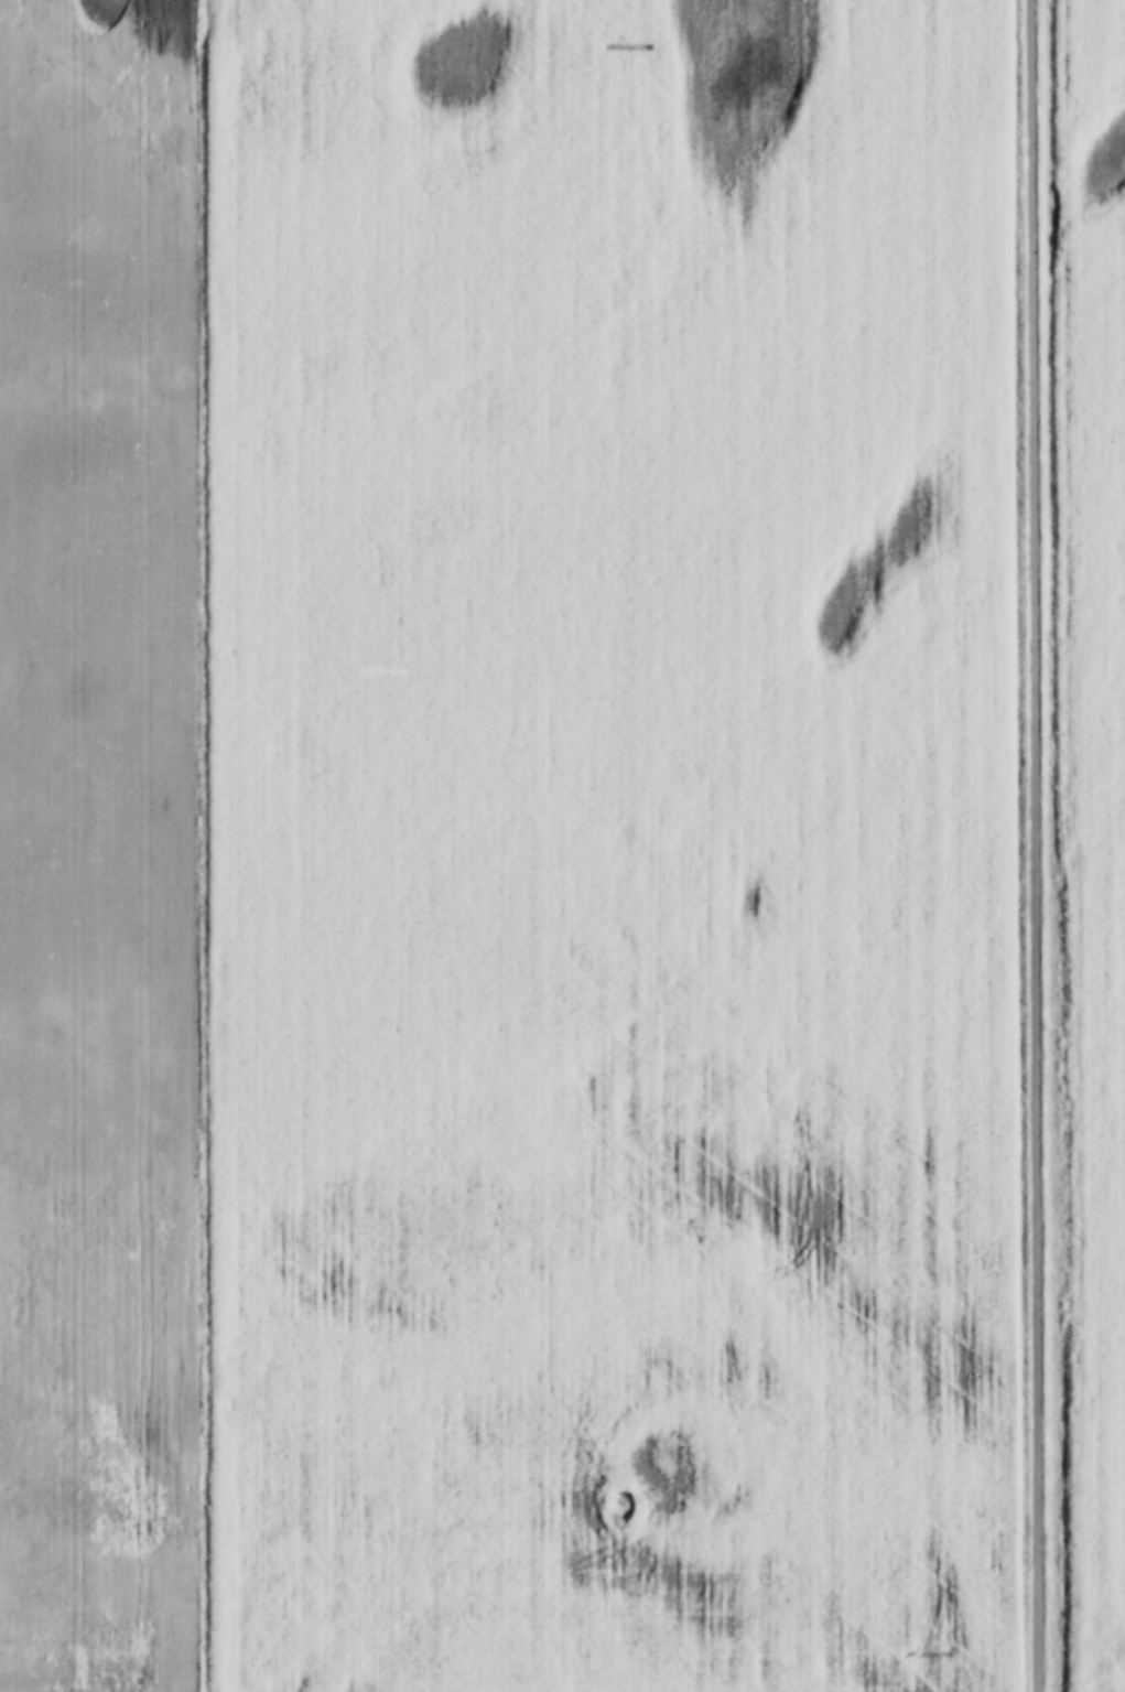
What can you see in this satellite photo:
road: (1036, 845)

